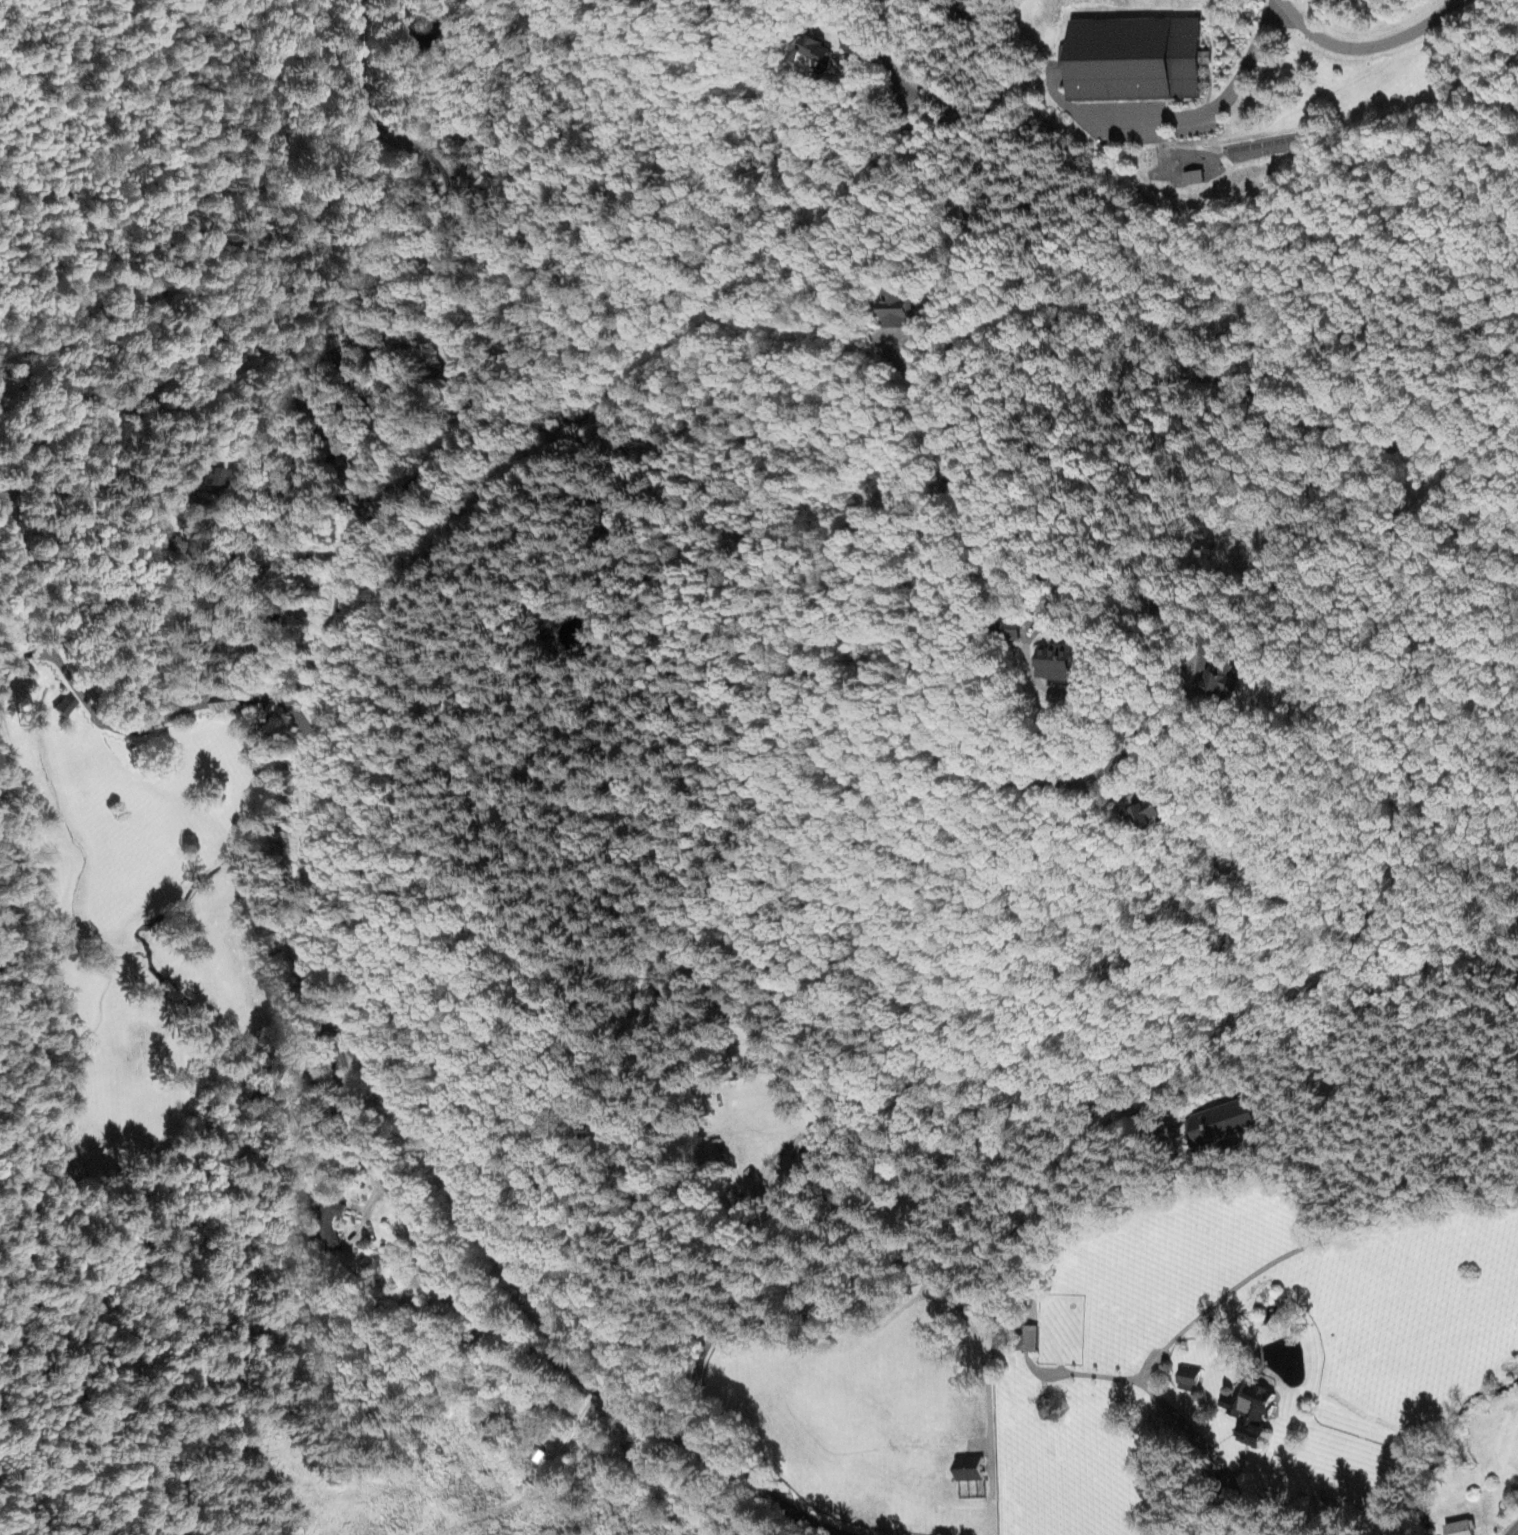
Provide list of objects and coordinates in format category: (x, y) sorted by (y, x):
road: (421, 40)
road: (873, 44)
road: (1368, 46)
building: (813, 57)
building: (1133, 58)
building: (1191, 181)
building: (898, 312)
road: (131, 474)
building: (213, 481)
road: (1151, 629)
building: (1006, 632)
road: (1439, 664)
building: (1051, 666)
building: (1215, 687)
road: (102, 688)
building: (69, 708)
building: (1145, 815)
road: (310, 840)
road: (52, 890)
road: (1208, 1062)
building: (1227, 1124)
building: (330, 1225)
road: (1343, 1260)
road: (898, 1279)
building: (1185, 1381)
building: (1248, 1416)
road: (1223, 1461)
building: (965, 1471)
building: (1457, 1529)
road: (1513, 1530)

